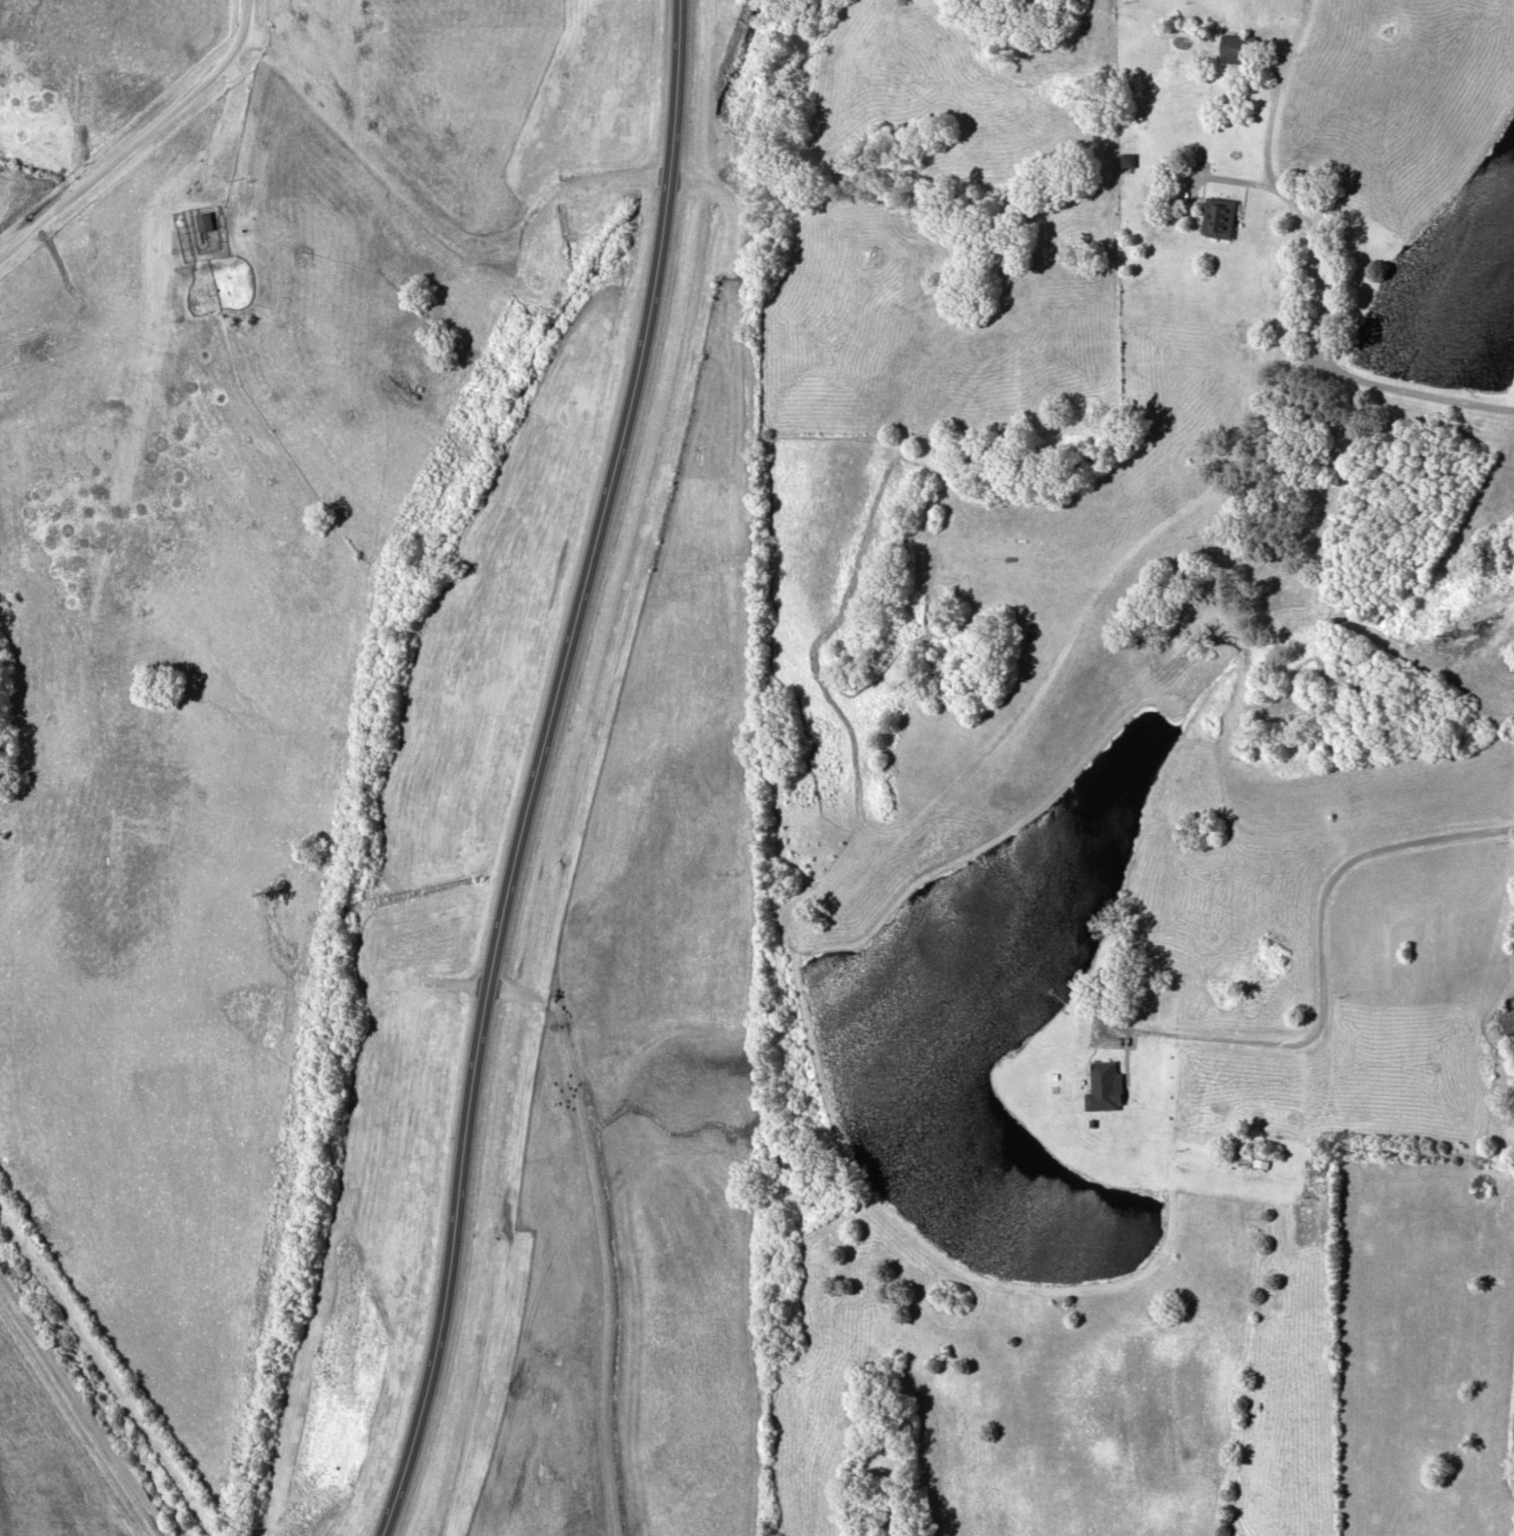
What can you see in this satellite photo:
building: (1237, 47)
road: (138, 132)
building: (1127, 158)
building: (1217, 216)
building: (203, 220)
road: (435, 220)
road: (1317, 269)
road: (536, 768)
road: (82, 1408)

